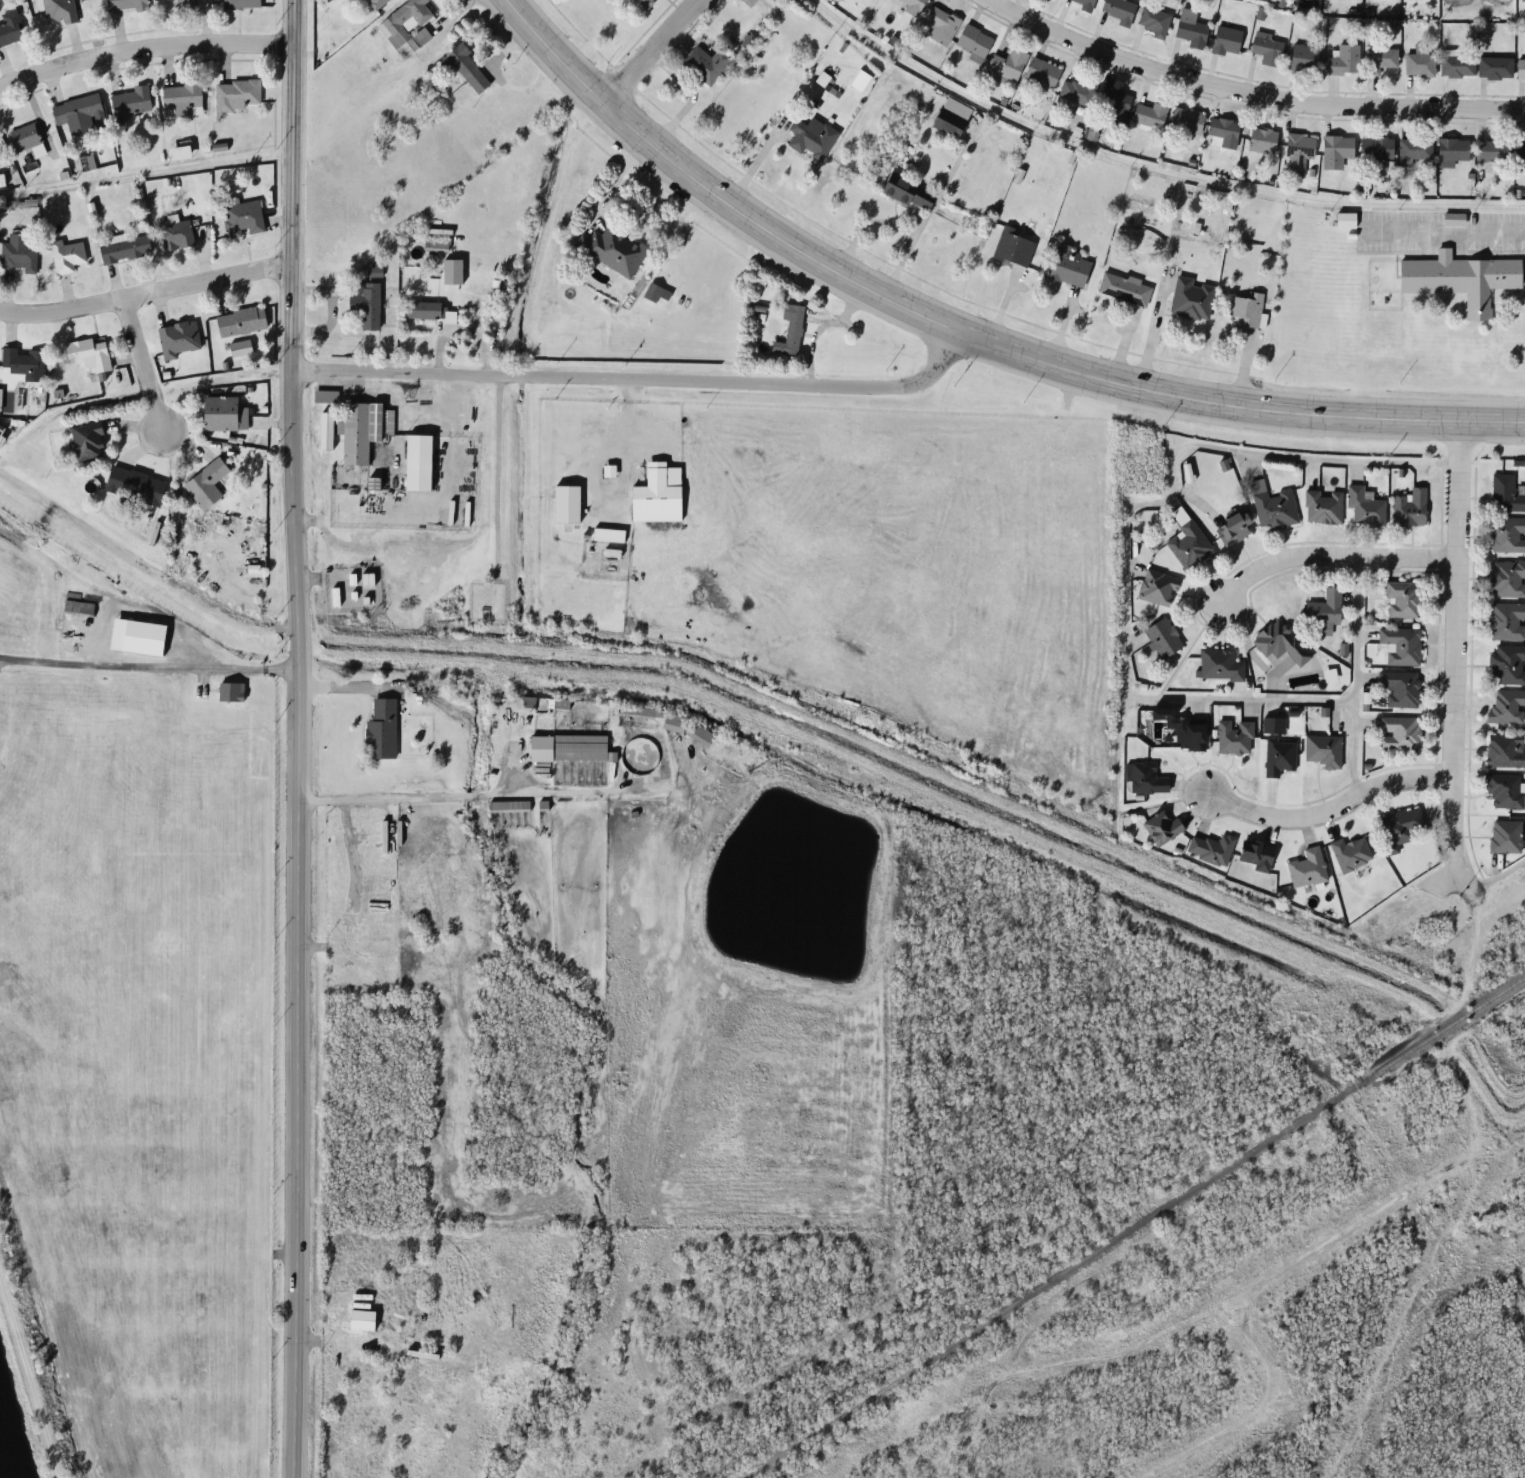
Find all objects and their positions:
building: (749, 0)
building: (643, 1)
building: (380, 2)
building: (772, 2)
building: (174, 3)
building: (240, 4)
building: (1084, 4)
building: (124, 5)
building: (911, 5)
building: (1120, 10)
building: (59, 11)
building: (1154, 20)
building: (408, 22)
building: (10, 27)
building: (941, 27)
building: (1189, 28)
building: (1226, 40)
building: (973, 41)
building: (1267, 48)
road: (638, 49)
road: (145, 54)
building: (713, 56)
building: (1302, 57)
building: (467, 59)
building: (1379, 59)
building: (1344, 60)
building: (1007, 63)
building: (1419, 64)
building: (1456, 64)
building: (1494, 67)
building: (1520, 69)
building: (1042, 72)
building: (823, 73)
building: (861, 76)
road: (1248, 89)
building: (1078, 91)
building: (235, 94)
building: (182, 98)
building: (1115, 101)
building: (129, 103)
building: (76, 108)
building: (953, 111)
building: (1150, 114)
building: (1186, 120)
building: (1223, 130)
building: (811, 132)
building: (26, 139)
building: (1261, 140)
building: (1376, 147)
building: (1414, 147)
building: (1335, 150)
building: (1451, 150)
building: (1492, 150)
building: (1297, 151)
building: (1520, 155)
road: (1153, 160)
road: (146, 166)
building: (911, 185)
building: (1349, 214)
building: (242, 219)
building: (1453, 219)
building: (175, 233)
building: (615, 241)
building: (1014, 241)
building: (435, 246)
building: (124, 249)
building: (18, 253)
building: (66, 256)
building: (1071, 260)
building: (1465, 272)
building: (1126, 282)
building: (657, 286)
road: (146, 292)
building: (1192, 293)
building: (367, 297)
building: (425, 303)
building: (1247, 303)
building: (243, 313)
building: (791, 326)
building: (179, 333)
road: (961, 335)
building: (90, 347)
building: (21, 364)
road: (142, 365)
road: (221, 374)
road: (639, 379)
building: (328, 389)
building: (223, 407)
building: (364, 423)
building: (88, 433)
building: (3, 435)
building: (422, 455)
building: (610, 464)
building: (378, 476)
building: (209, 477)
building: (138, 479)
building: (659, 487)
building: (1505, 487)
building: (569, 496)
building: (1275, 500)
building: (1324, 500)
building: (1367, 500)
building: (1410, 503)
building: (1237, 520)
road: (1123, 523)
building: (609, 528)
building: (1507, 529)
building: (1190, 539)
building: (614, 547)
road: (1335, 555)
building: (1506, 572)
building: (1159, 582)
building: (1404, 593)
building: (1326, 606)
building: (78, 607)
building: (1506, 615)
building: (1162, 635)
building: (1280, 635)
building: (1402, 639)
road: (1453, 655)
building: (1222, 658)
building: (1508, 658)
road: (147, 660)
road: (1354, 679)
building: (1403, 682)
building: (232, 683)
building: (1507, 701)
building: (560, 703)
building: (651, 719)
building: (384, 722)
building: (1401, 726)
building: (1192, 728)
building: (1236, 732)
building: (700, 734)
road: (296, 738)
building: (1324, 744)
building: (1505, 744)
building: (571, 748)
building: (1278, 751)
building: (1147, 771)
building: (1504, 786)
road: (1331, 812)
building: (1164, 820)
building: (1399, 822)
building: (1504, 830)
building: (1213, 842)
building: (1351, 847)
building: (1259, 848)
building: (1309, 861)
road: (1497, 876)
railway: (1449, 1027)
building: (361, 1320)

